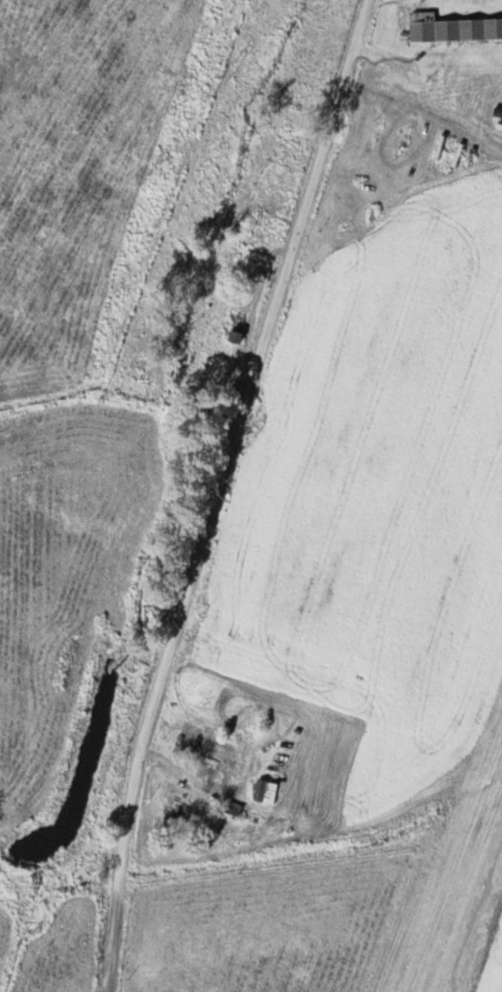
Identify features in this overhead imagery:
building: (456, 28)
airport: (427, 109)
building: (231, 333)
road: (216, 491)
building: (217, 755)
building: (270, 791)
airport: (452, 855)
airport runway: (463, 886)

